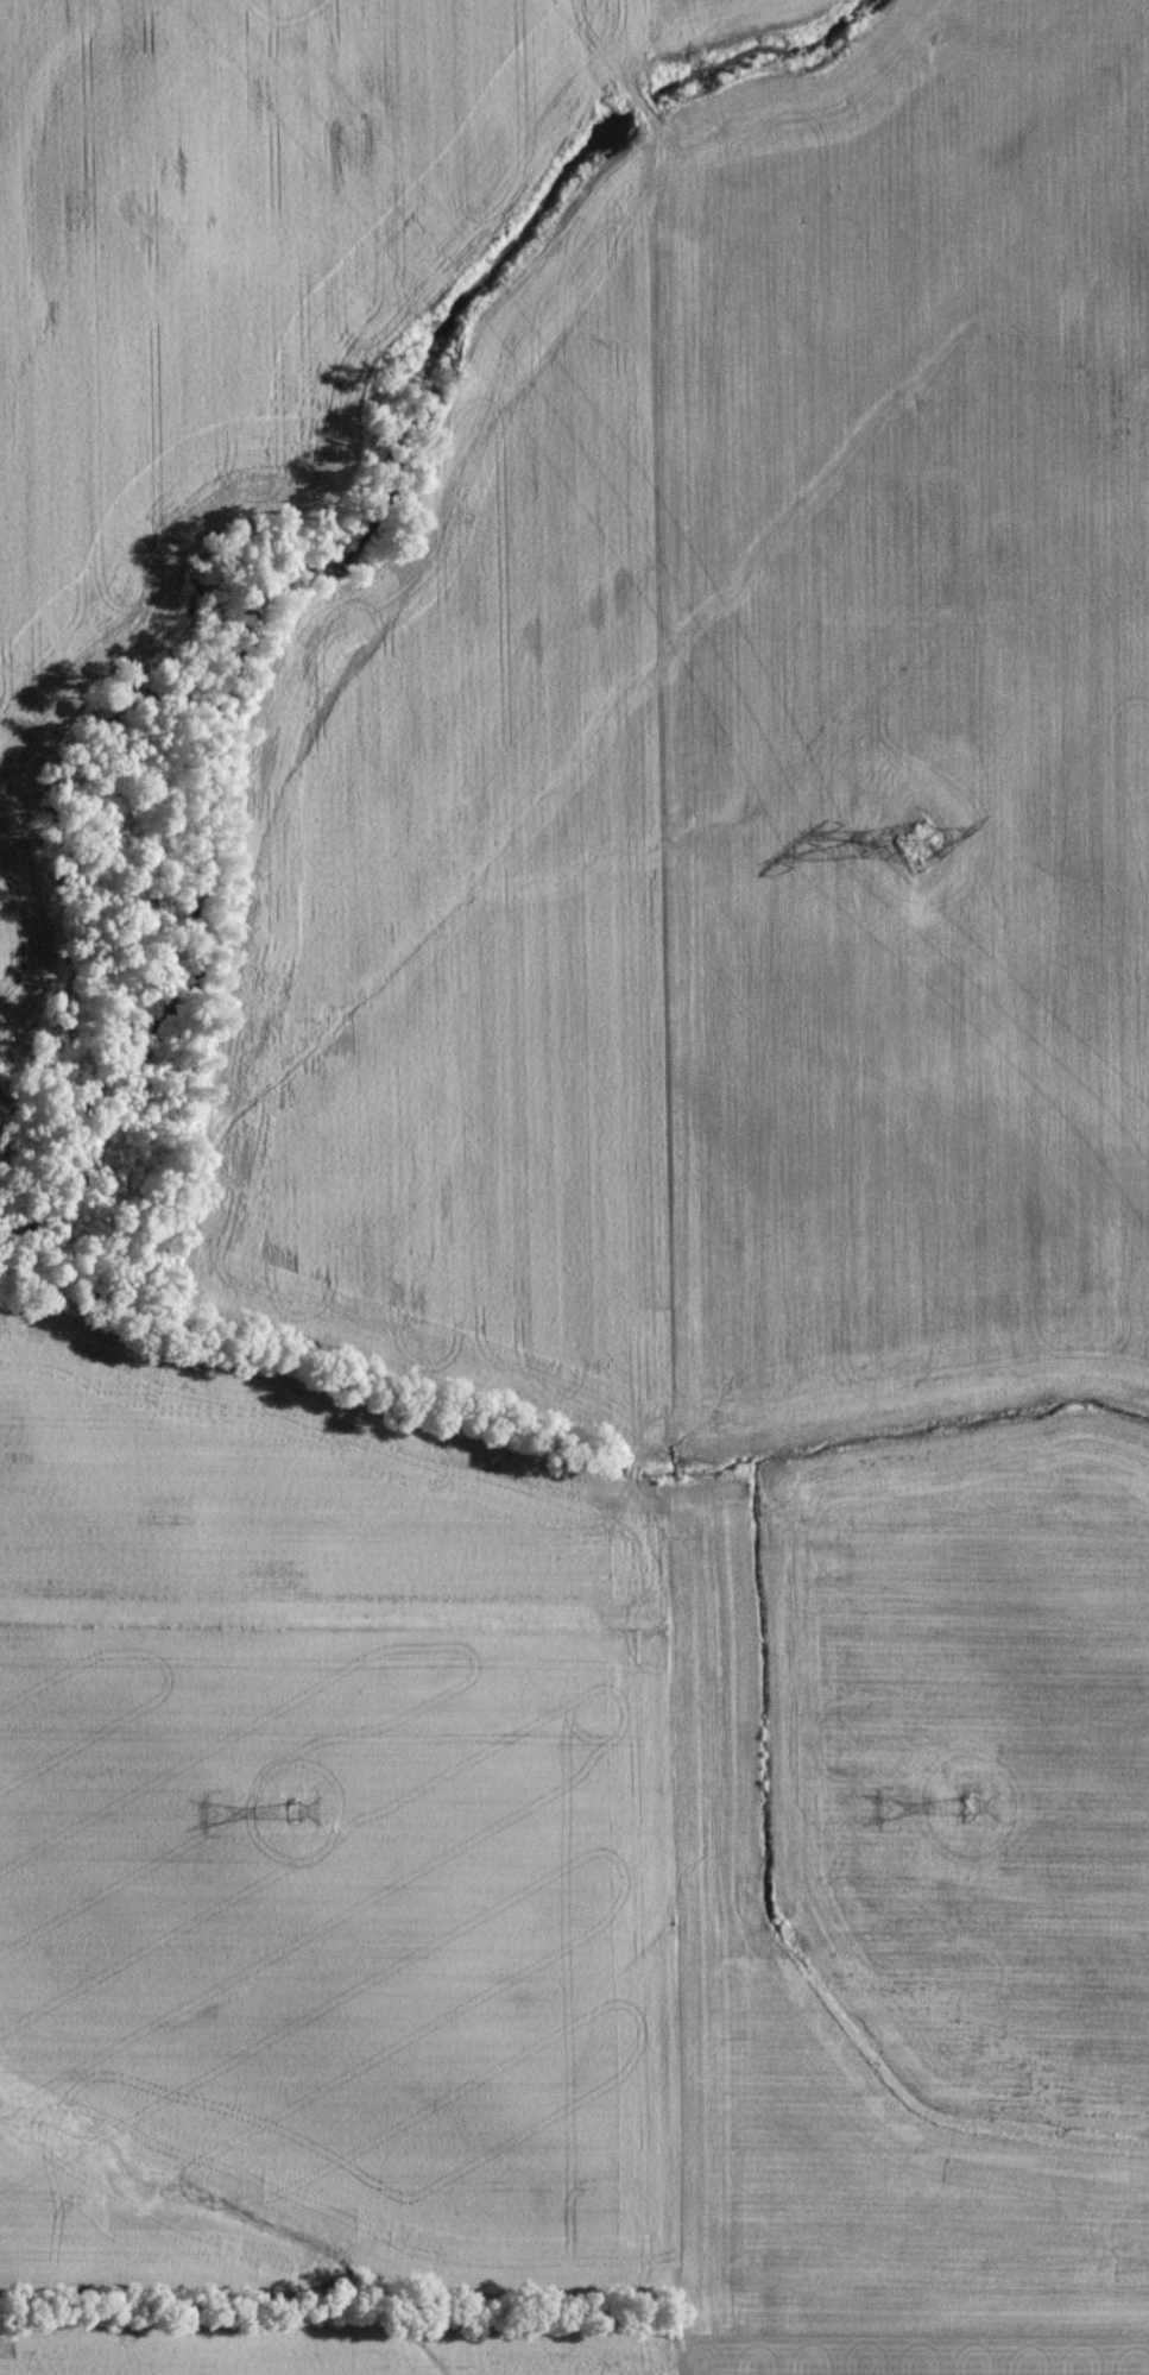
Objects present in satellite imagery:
power tower: (918, 845)
power tower: (966, 1810)
power tower: (293, 1818)

